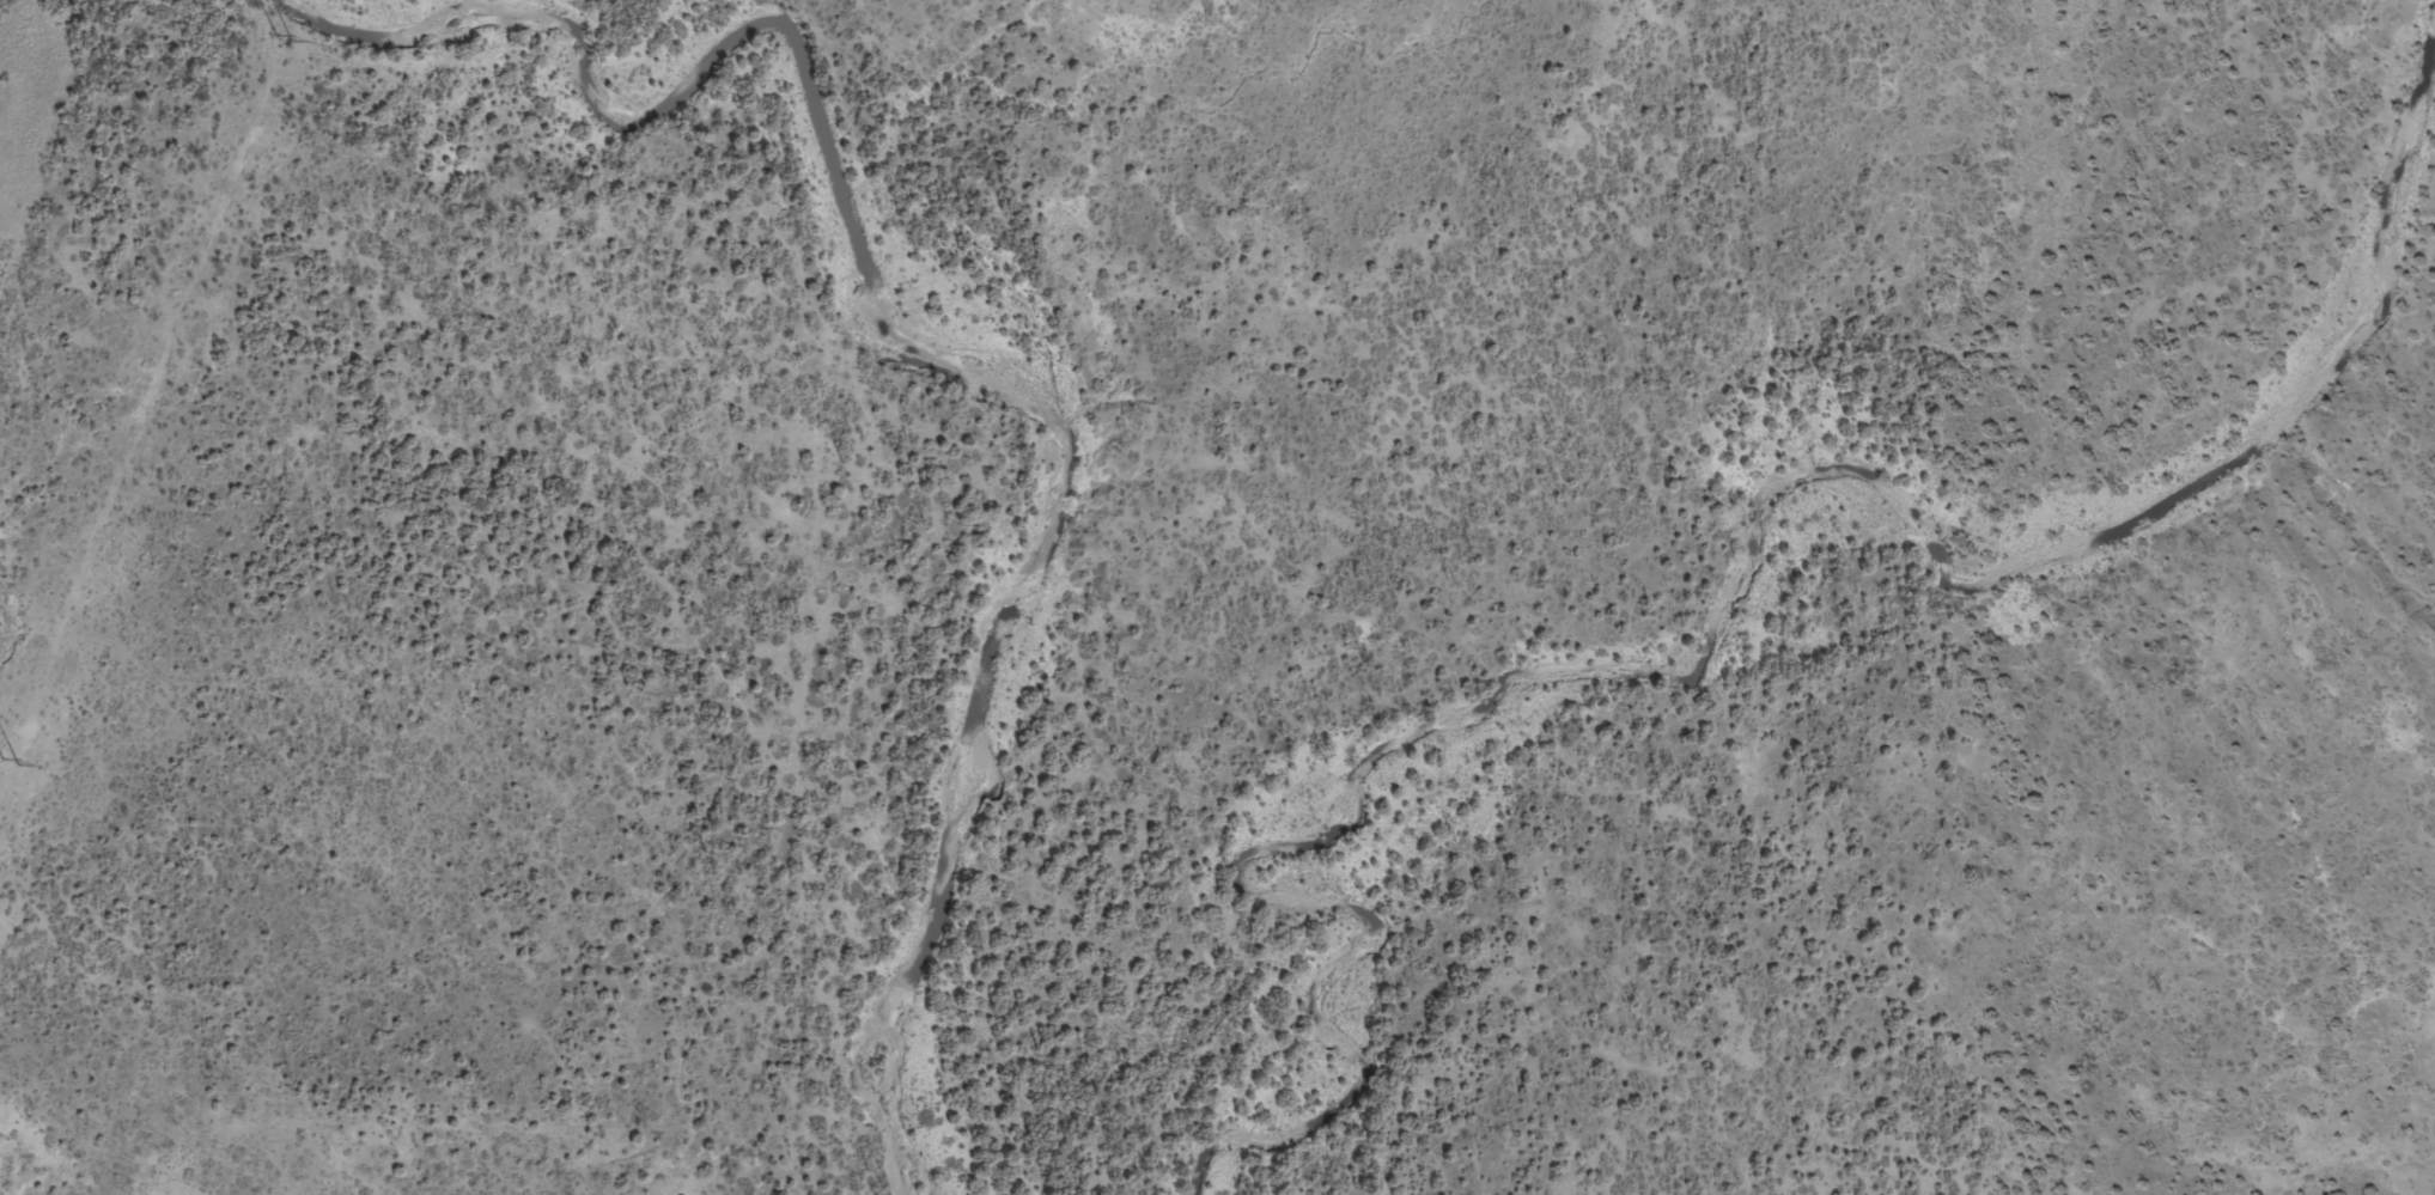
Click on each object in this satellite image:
power tower: (280, 37)
power tower: (5, 766)

